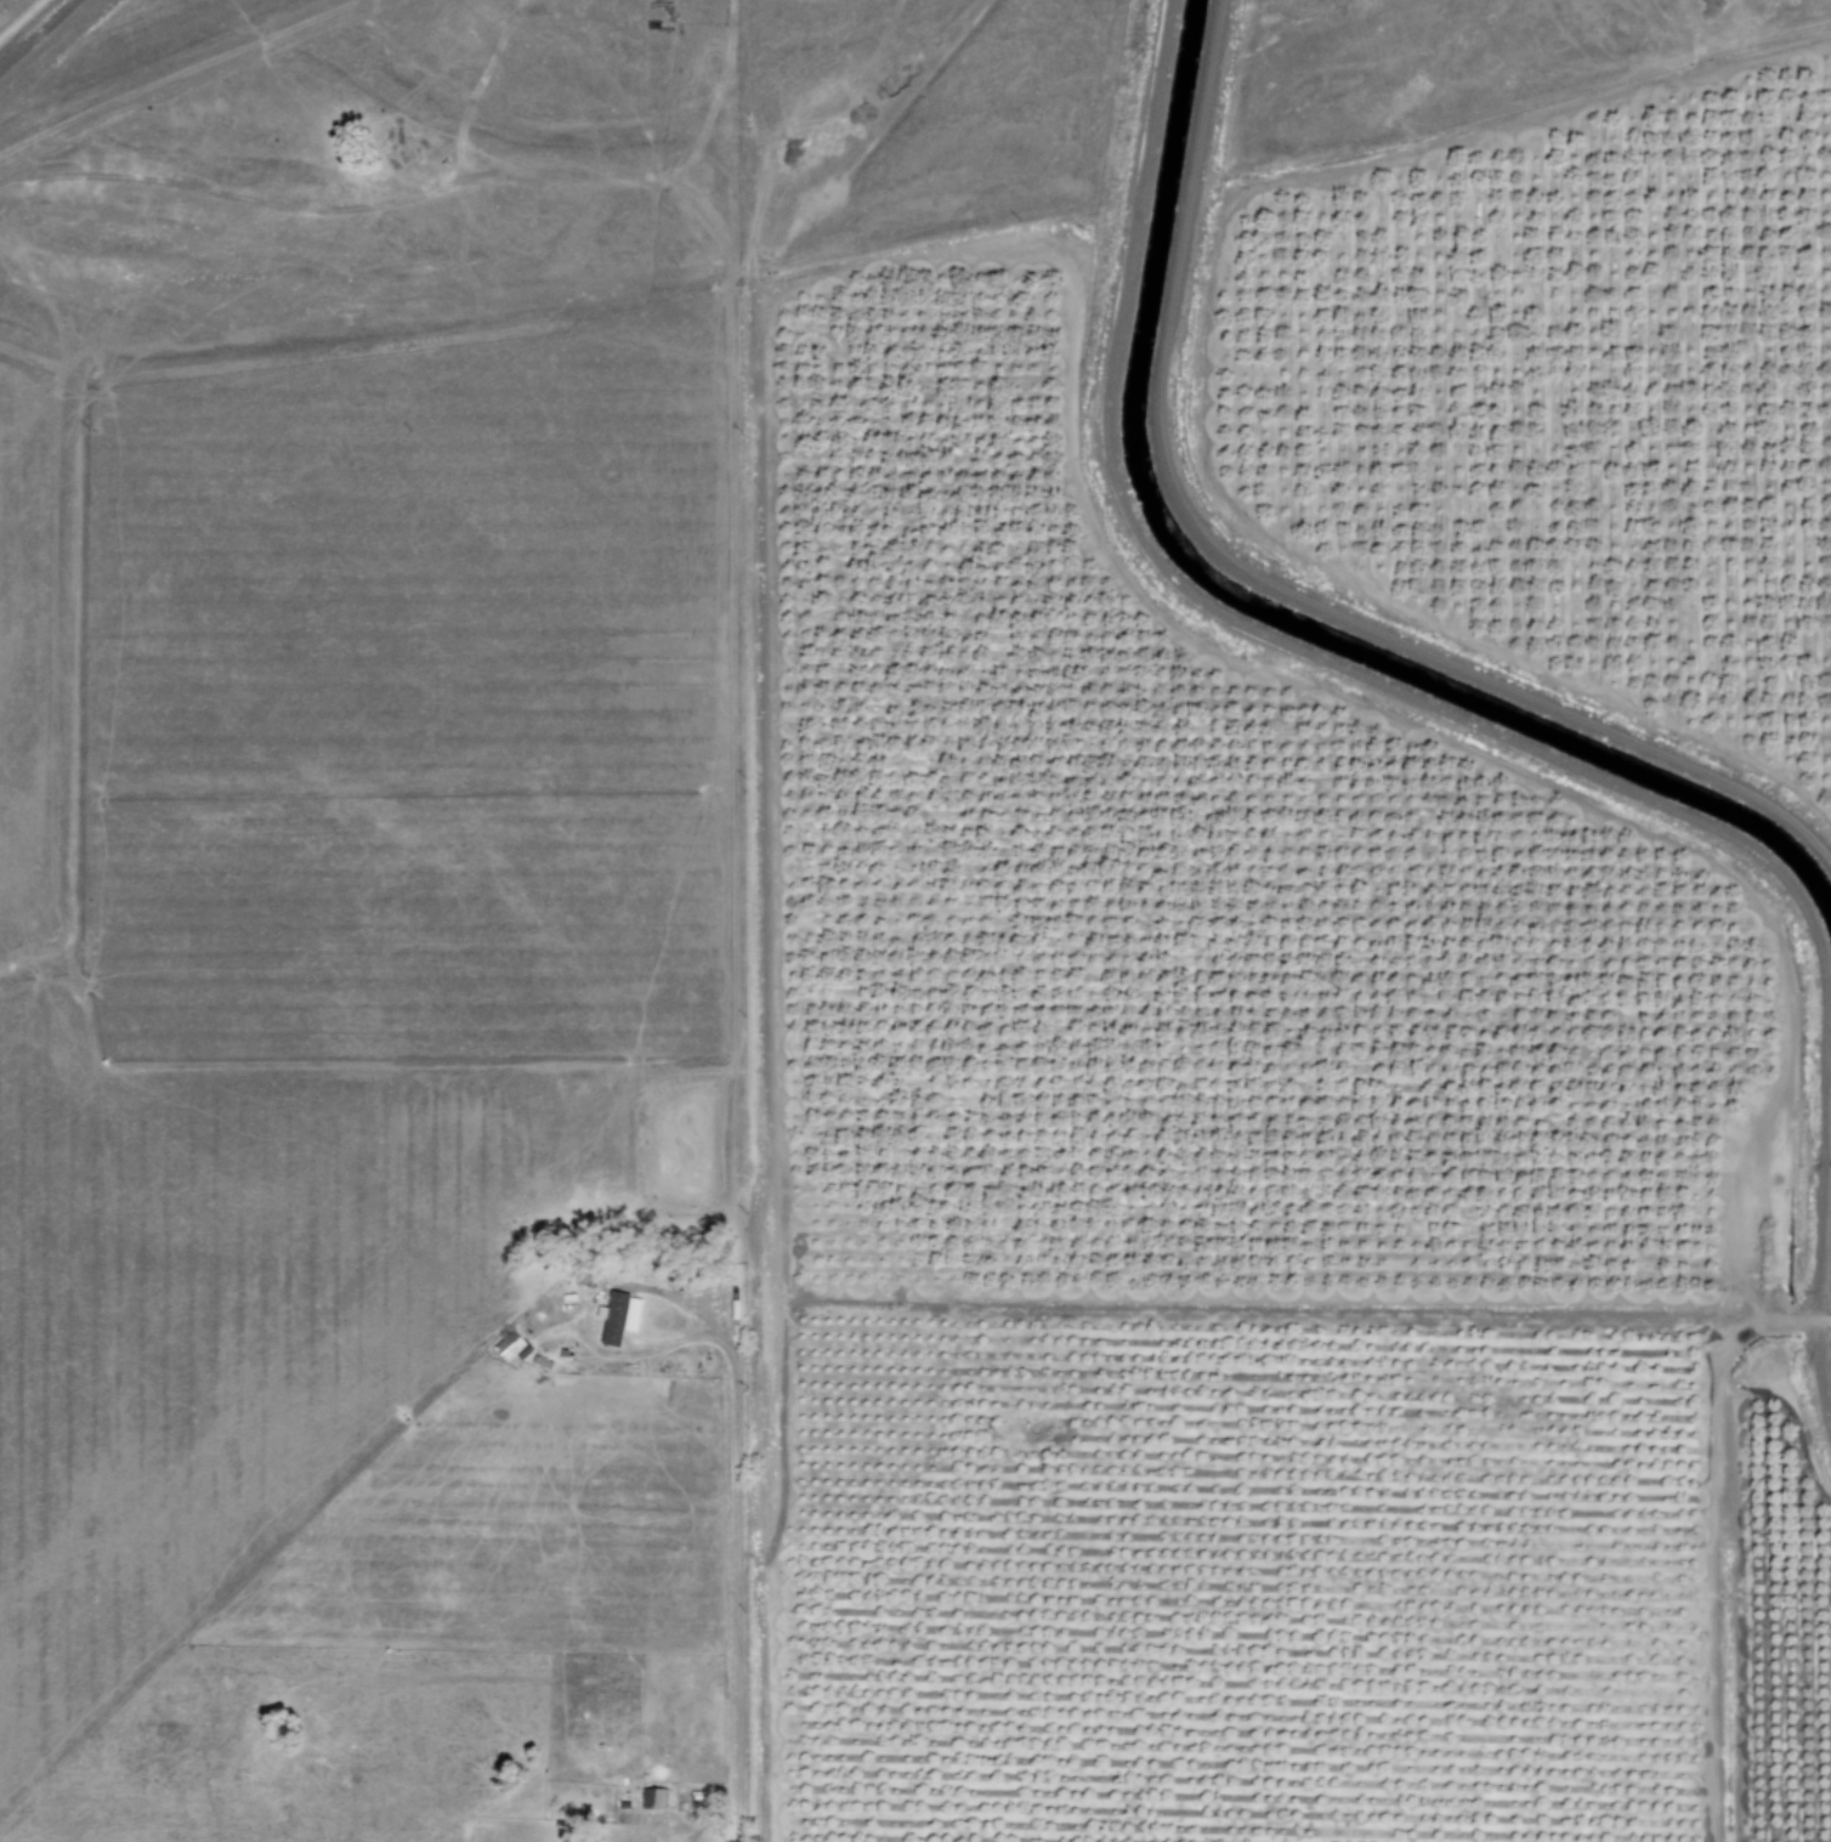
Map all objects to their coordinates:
road: (580, 1313)
building: (619, 1317)
building: (542, 1362)
road: (735, 1577)
building: (653, 1798)

